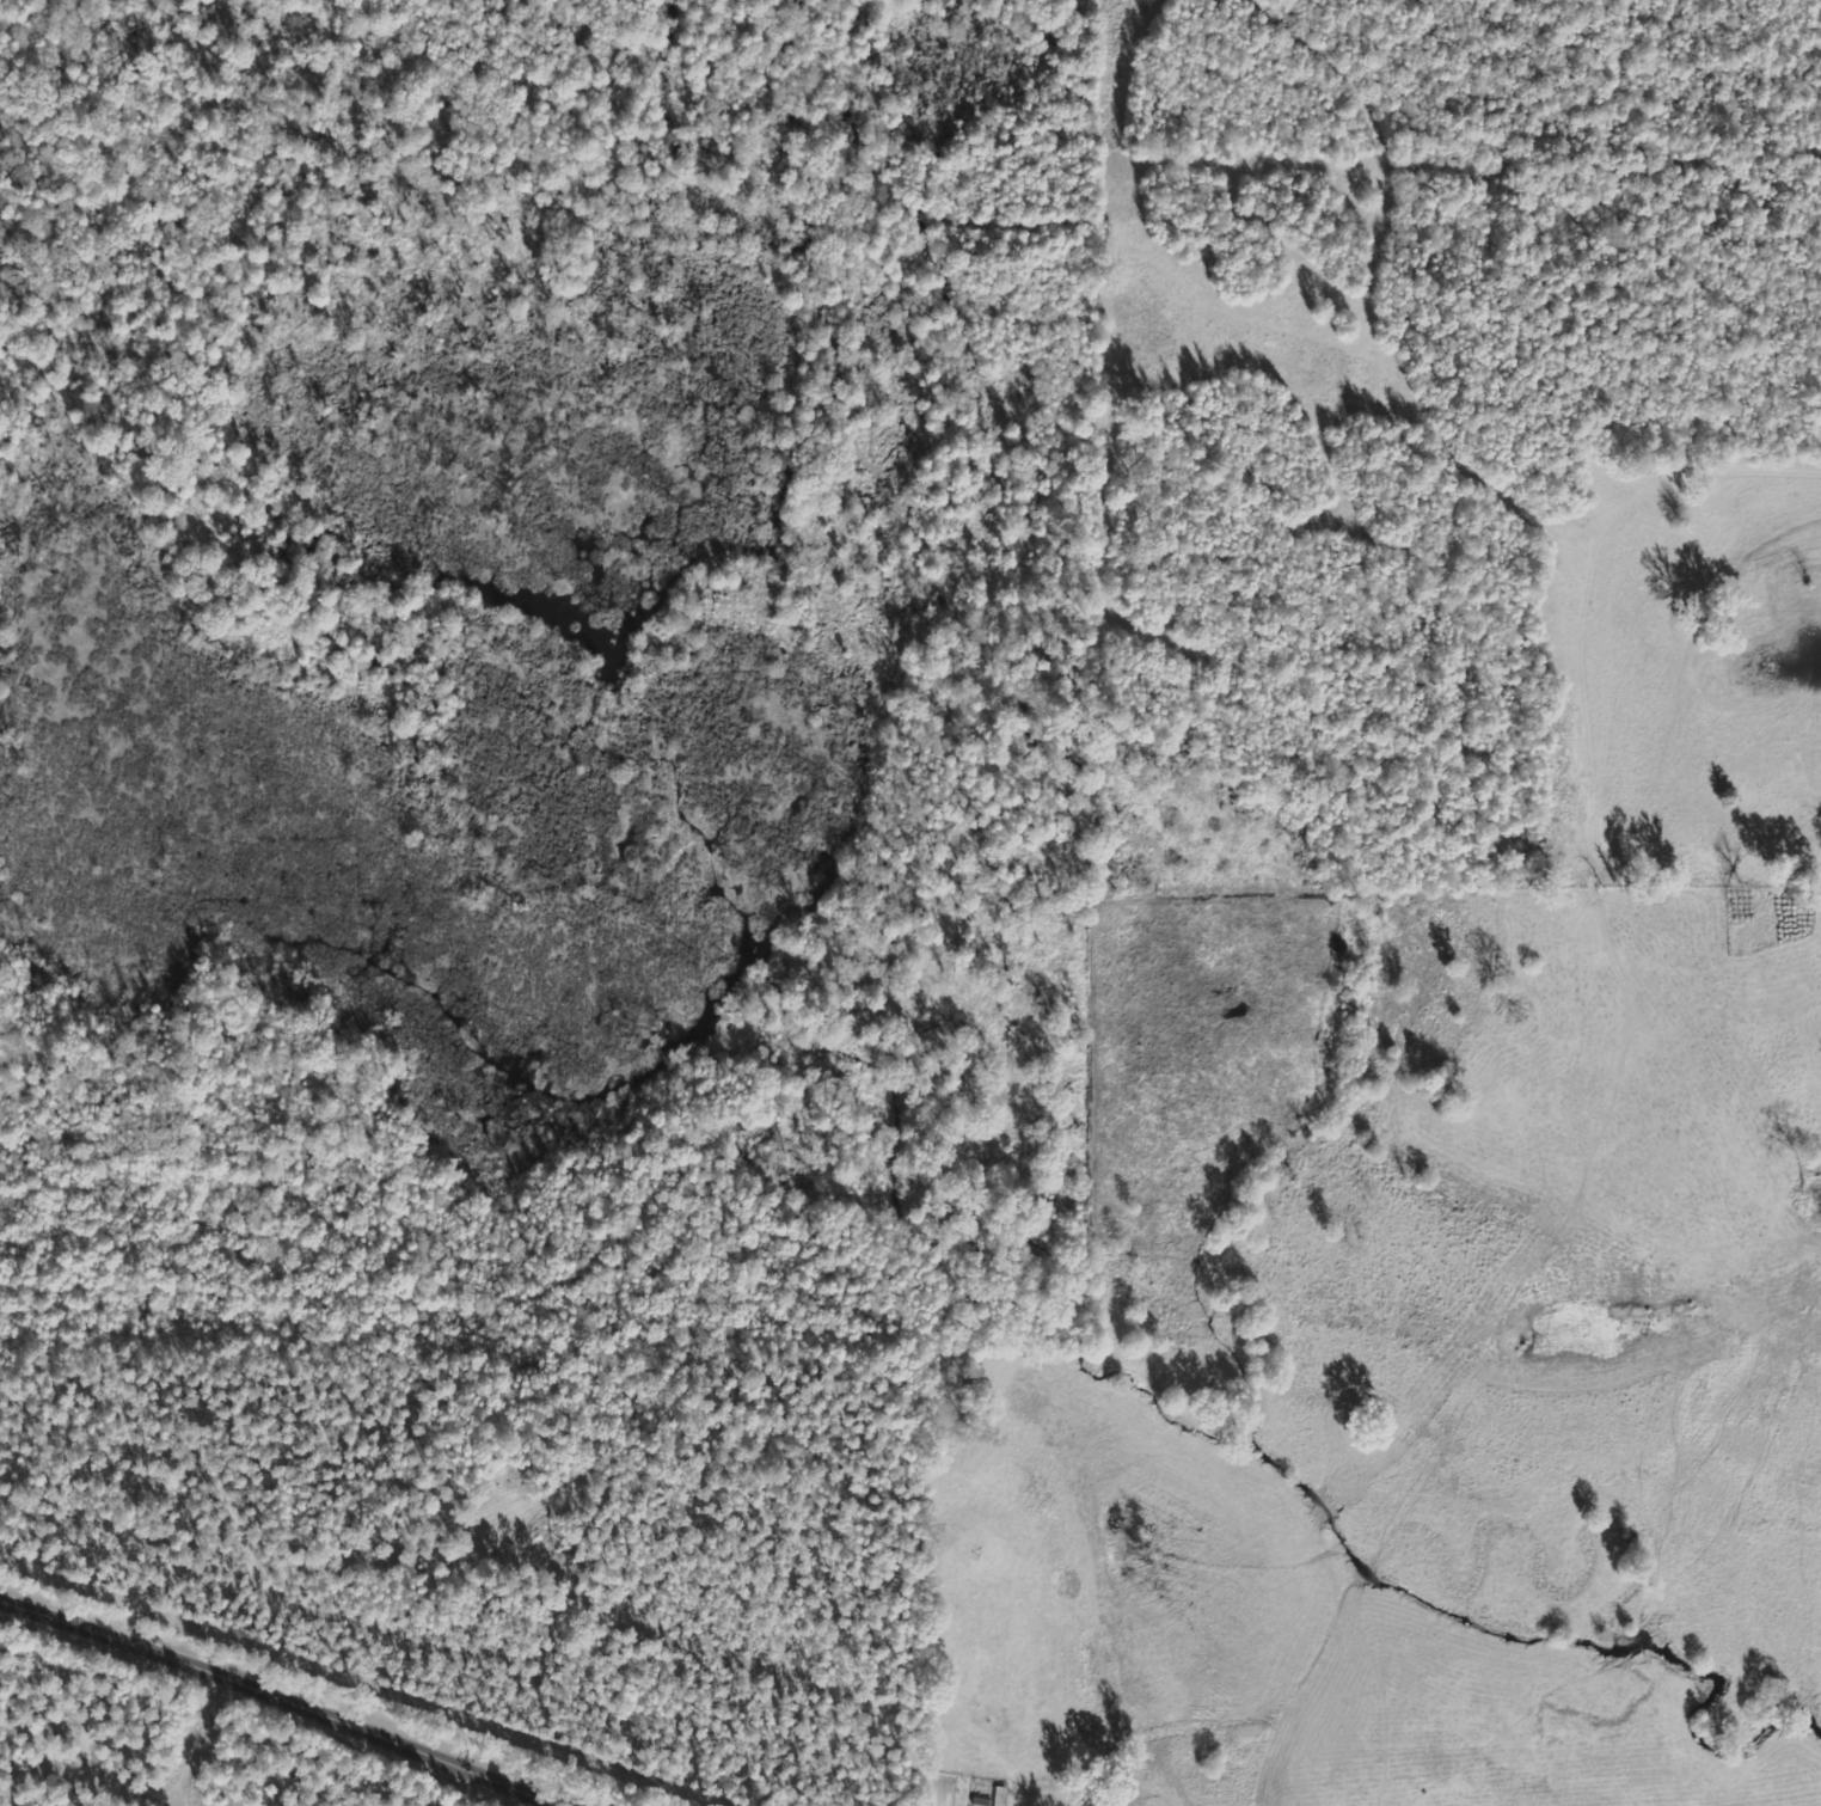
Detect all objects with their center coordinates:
road: (282, 1698)

